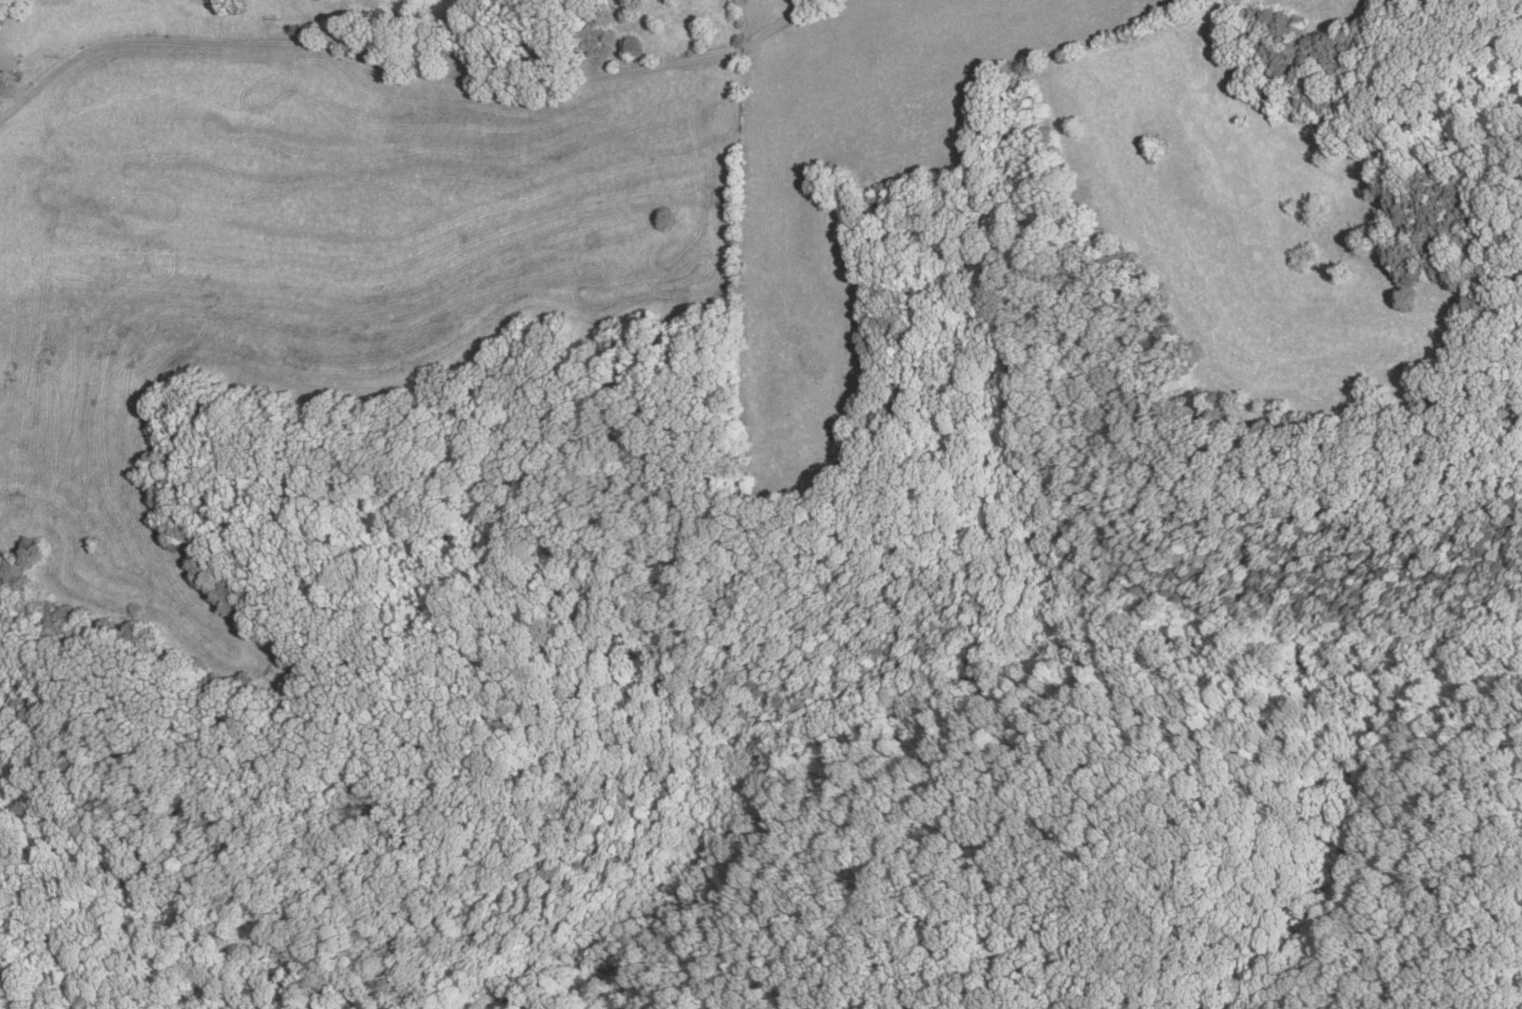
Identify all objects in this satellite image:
road: (411, 68)

